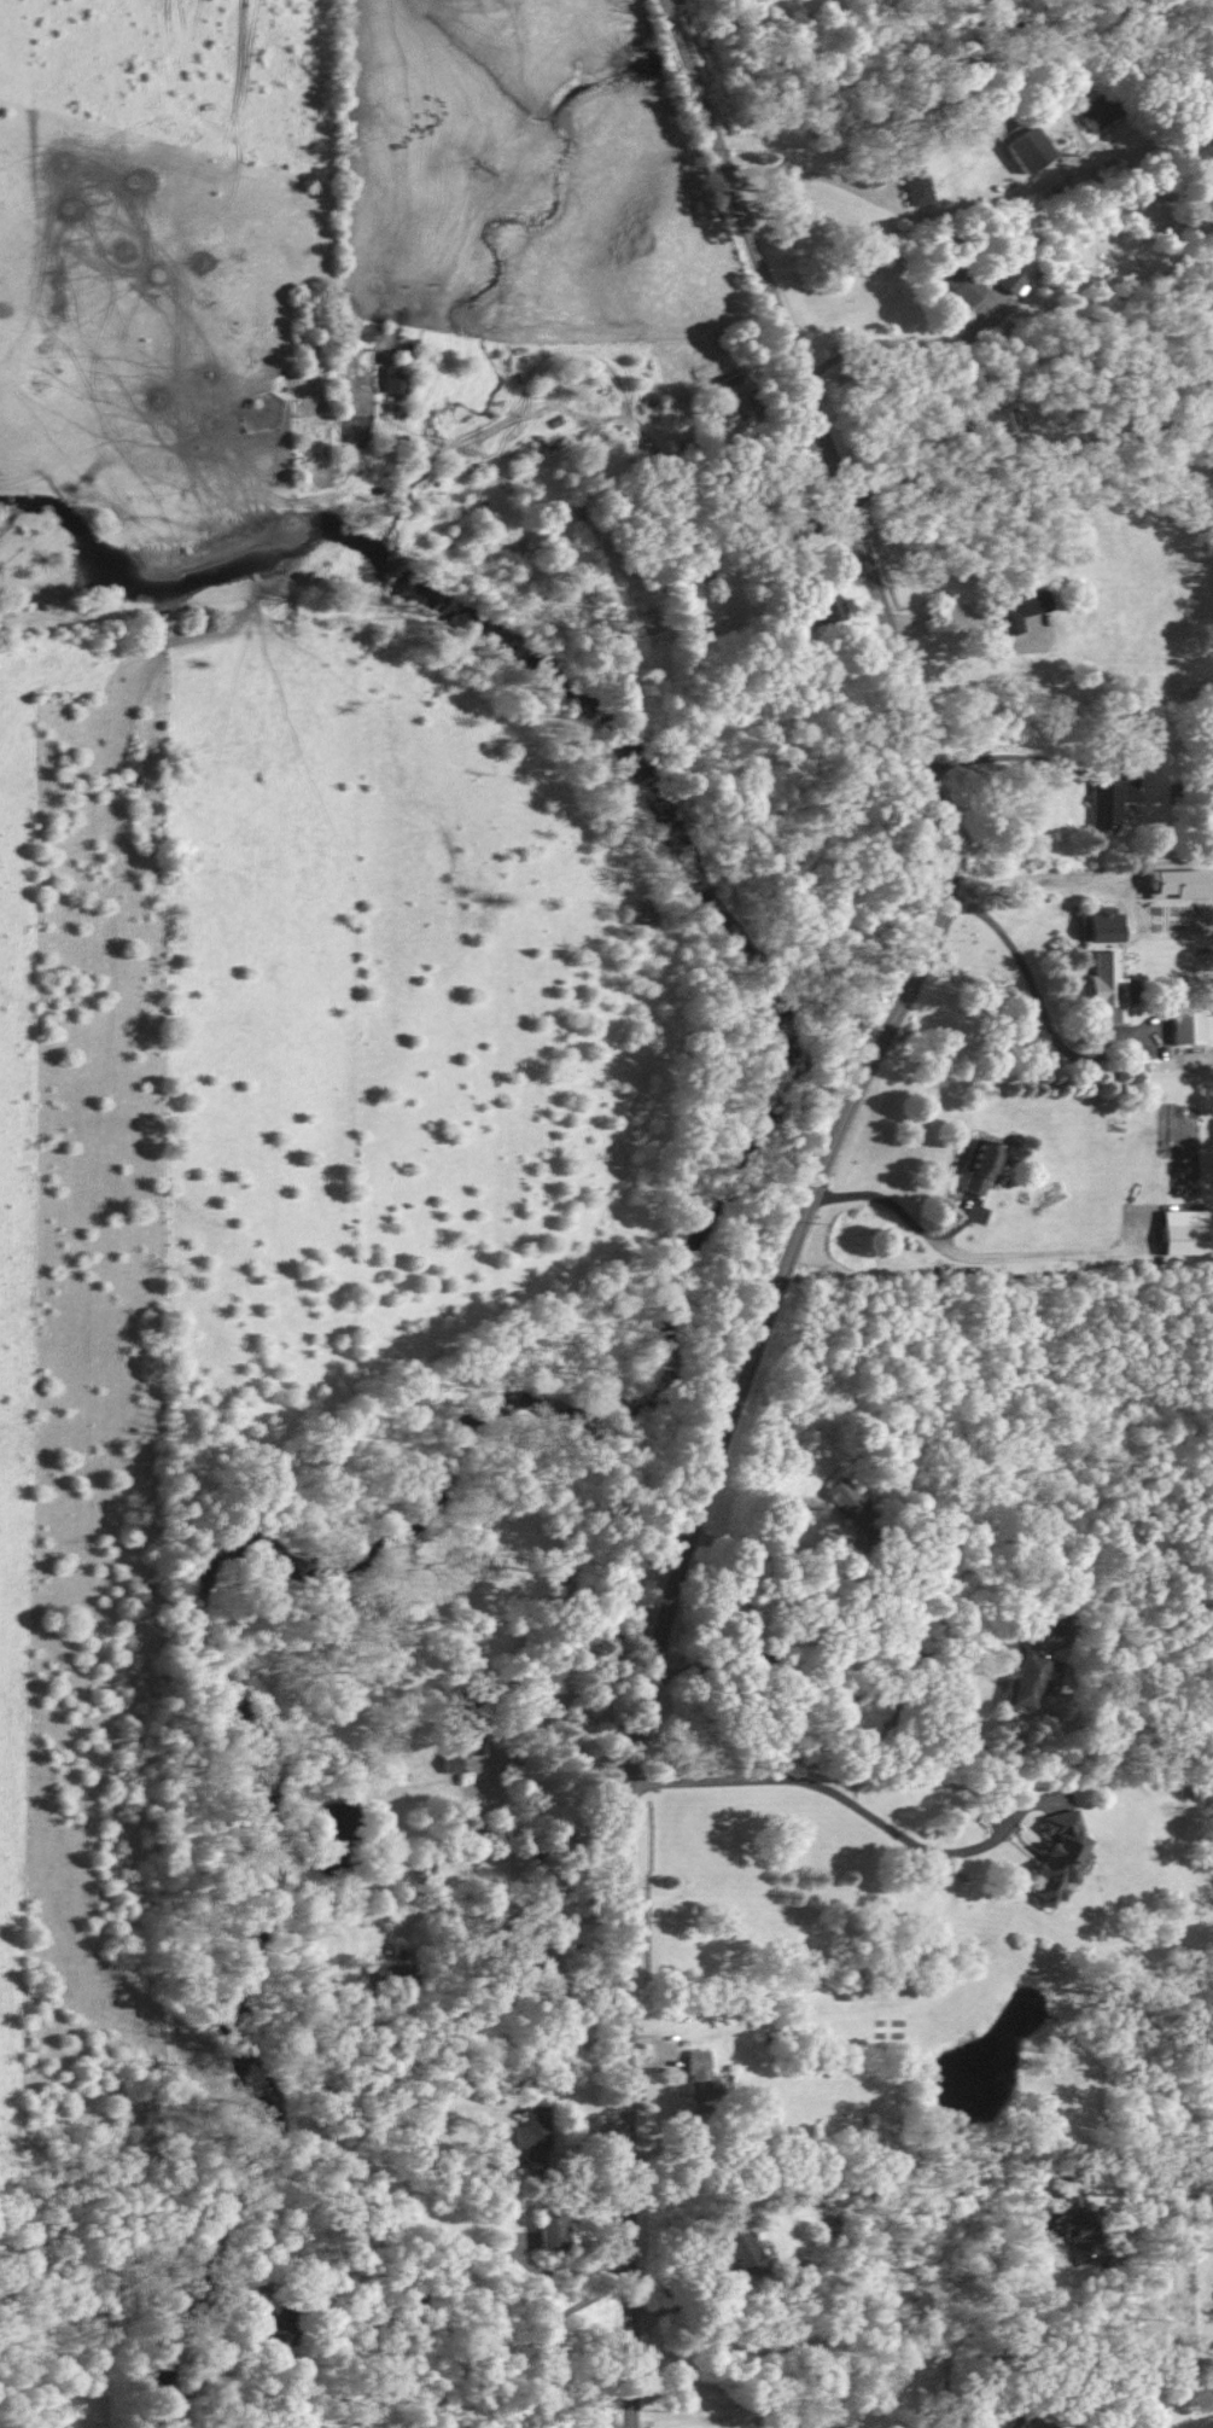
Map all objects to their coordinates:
building: (1098, 112)
building: (1027, 149)
building: (916, 184)
road: (894, 208)
building: (1010, 280)
building: (961, 284)
building: (362, 332)
road: (902, 359)
building: (393, 379)
building: (999, 425)
road: (904, 476)
building: (823, 607)
building: (1019, 609)
road: (1005, 755)
building: (1109, 800)
building: (1104, 926)
building: (1107, 985)
road: (1036, 988)
building: (1192, 1027)
building: (979, 1166)
road: (815, 1189)
road: (892, 1206)
building: (1183, 1239)
building: (848, 1502)
road: (774, 1554)
road: (811, 1655)
building: (1022, 1675)
road: (553, 1708)
building: (453, 1763)
road: (868, 1813)
building: (1057, 1856)
road: (565, 1974)
building: (877, 1990)
building: (700, 2083)
building: (533, 2135)
building: (1079, 2222)
building: (552, 2226)
building: (741, 2248)
road: (562, 2271)
road: (676, 2300)
road: (853, 2313)
building: (281, 2325)
road: (527, 2330)
building: (1033, 2423)

